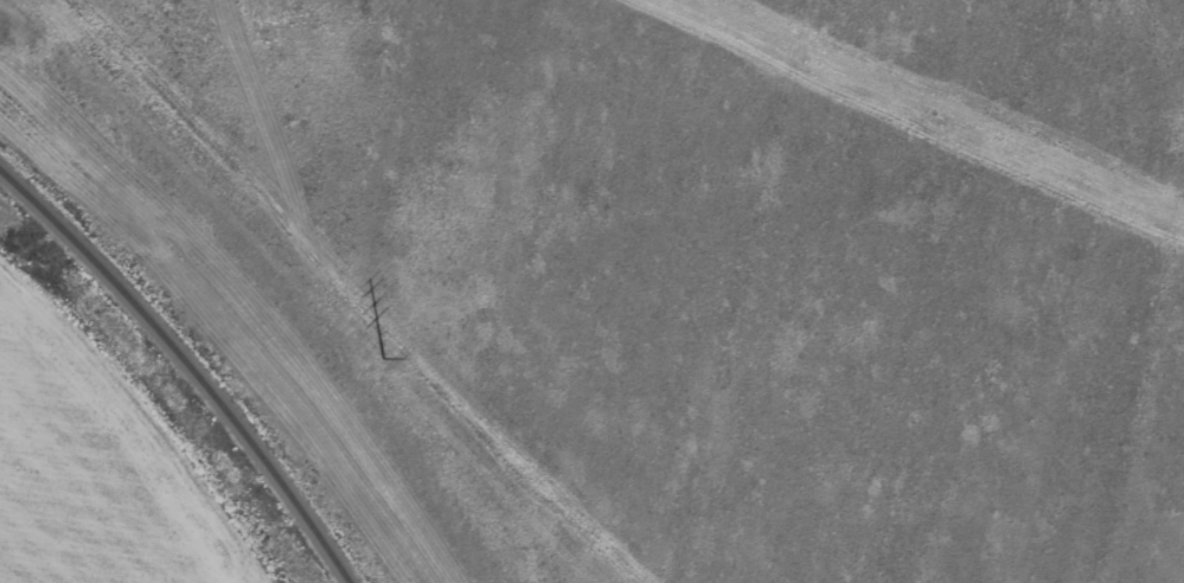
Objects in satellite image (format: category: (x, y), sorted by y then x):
power tower: (385, 357)
railway: (185, 366)

